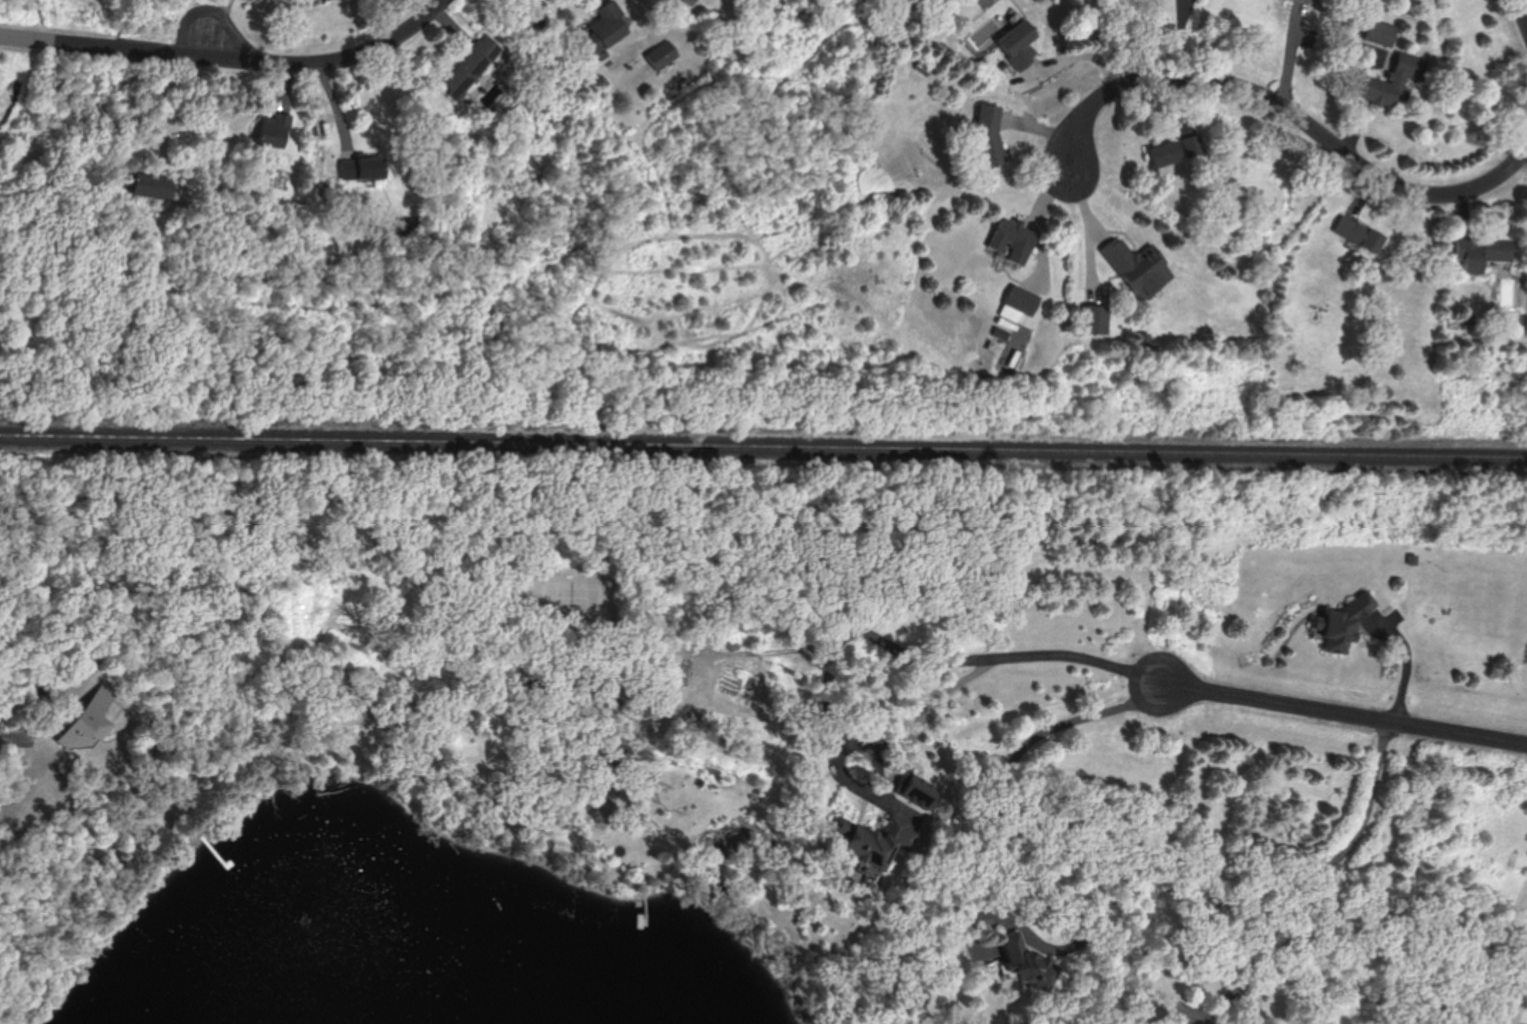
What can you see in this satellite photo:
building: (323, 0)
building: (681, 1)
building: (1306, 1)
road: (1525, 3)
building: (604, 28)
building: (1383, 33)
building: (1018, 44)
building: (661, 54)
road: (1080, 54)
road: (232, 59)
building: (470, 66)
building: (1397, 81)
road: (172, 86)
road: (1294, 116)
building: (273, 130)
building: (989, 135)
building: (1177, 150)
building: (362, 169)
building: (152, 184)
building: (409, 227)
building: (1360, 233)
building: (1014, 240)
building: (1482, 253)
building: (1140, 267)
building: (1024, 300)
building: (1097, 319)
railway: (763, 444)
building: (1343, 623)
road: (835, 642)
road: (1408, 663)
road: (1346, 715)
road: (40, 718)
building: (88, 722)
building: (870, 842)
road: (1327, 889)
road: (997, 908)
building: (1028, 964)
road: (1516, 972)
building: (1486, 1023)

